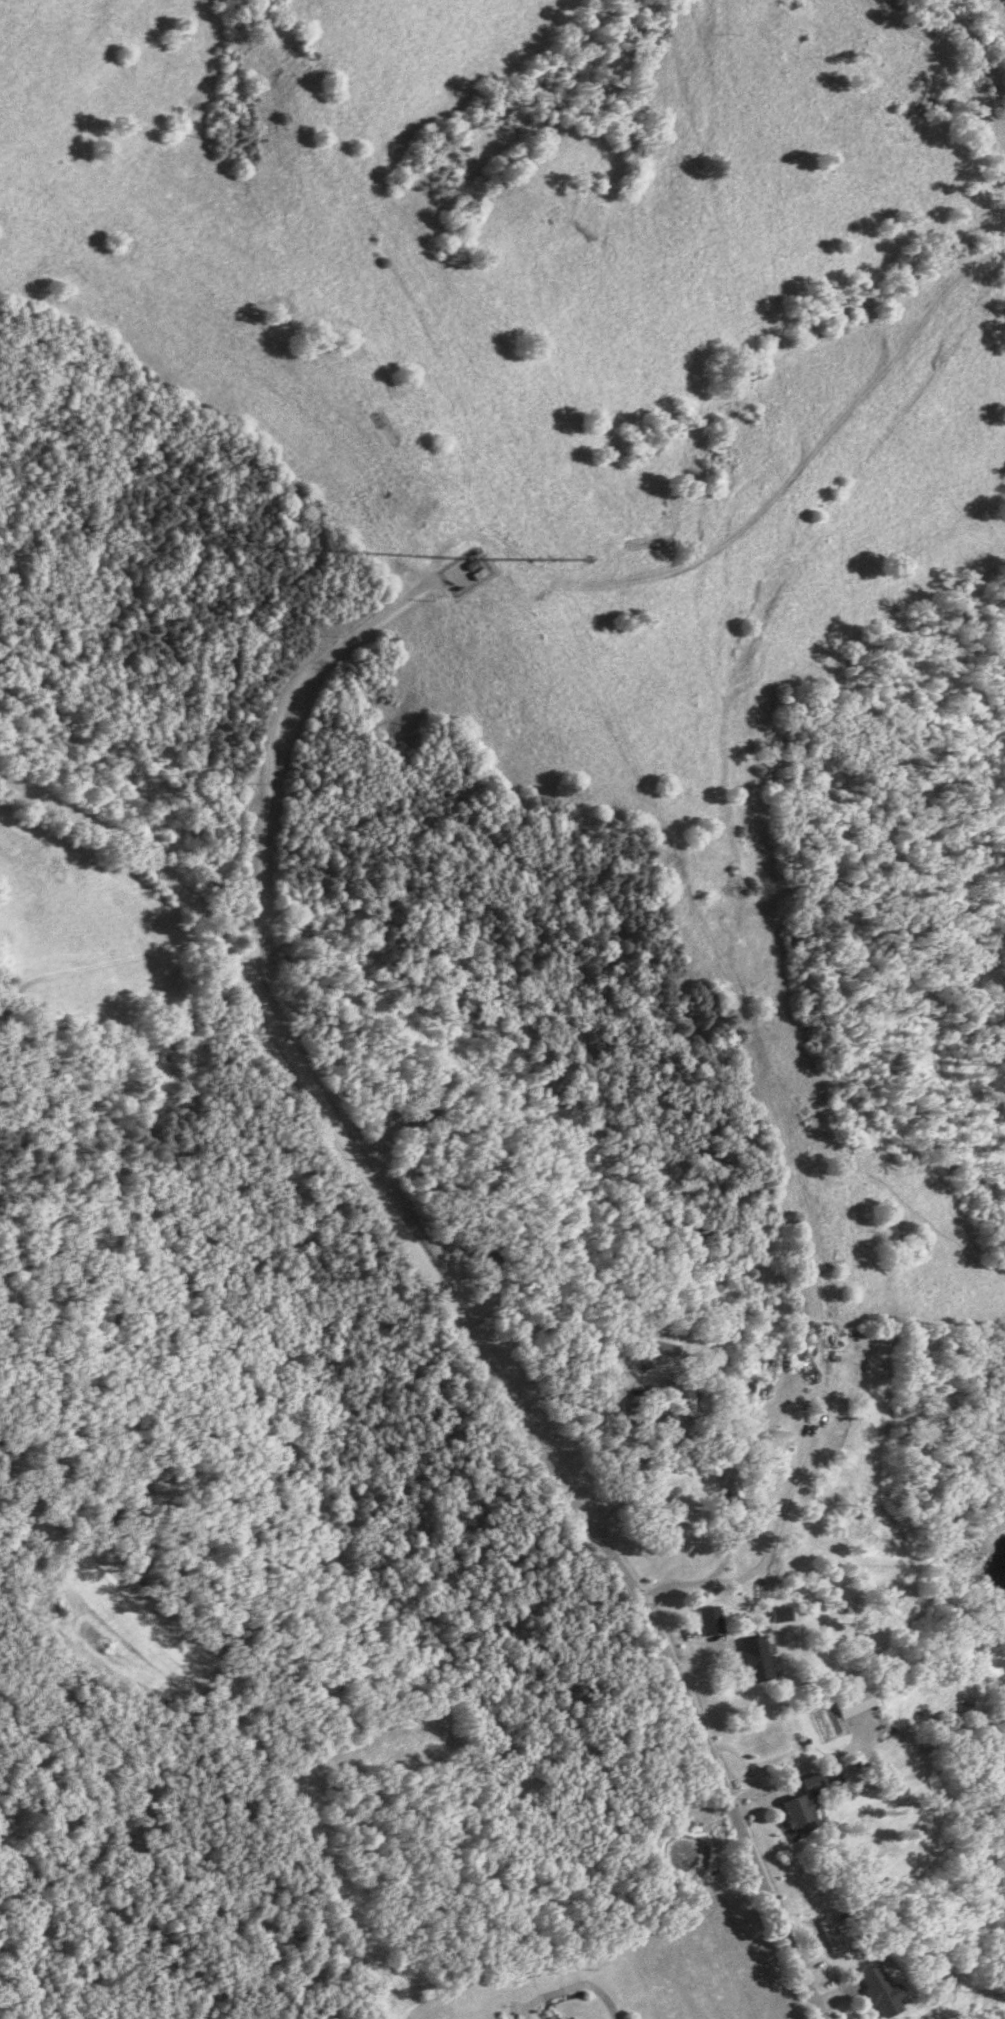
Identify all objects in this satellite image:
building: (411, 1118)
road: (352, 1155)
building: (810, 1337)
building: (687, 1396)
building: (730, 1488)
building: (709, 1620)
building: (751, 1659)
building: (850, 1703)
building: (809, 1782)
road: (737, 1807)
building: (795, 1812)
building: (828, 1935)
road: (578, 1983)
building: (876, 1992)

